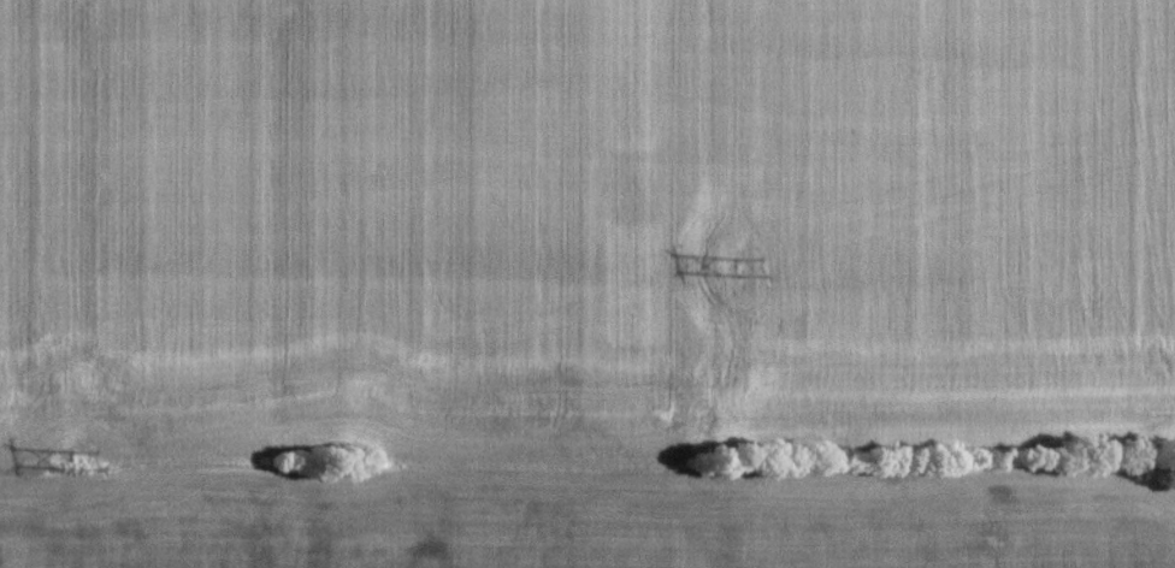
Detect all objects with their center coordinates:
power tower: (737, 273)
power tower: (75, 467)

